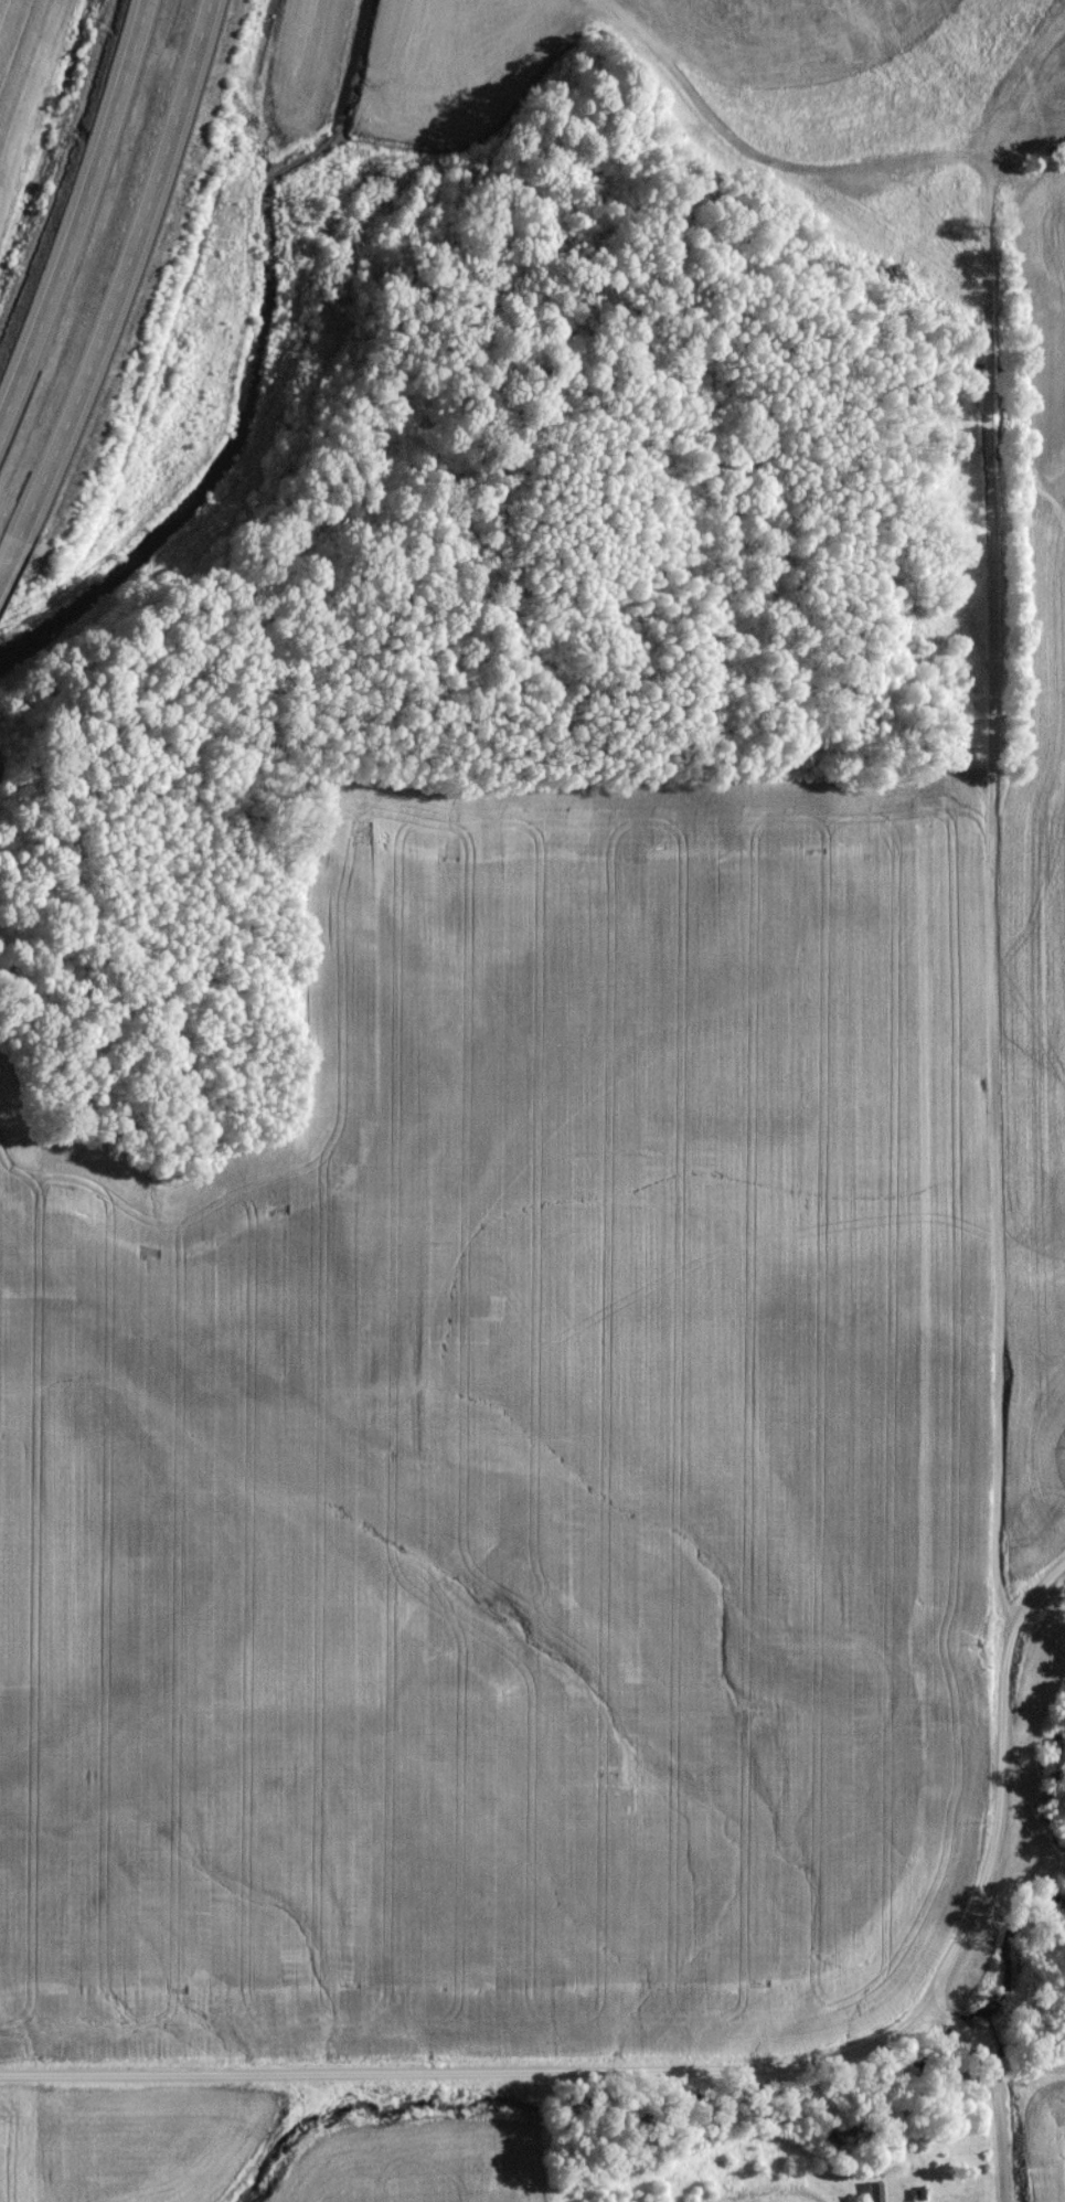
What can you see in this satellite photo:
road: (77, 211)
road: (128, 270)
road: (12, 560)
road: (991, 969)
road: (1034, 1598)
road: (993, 1823)
road: (542, 2076)
road: (992, 2091)
road: (1032, 2130)
building: (873, 2194)

